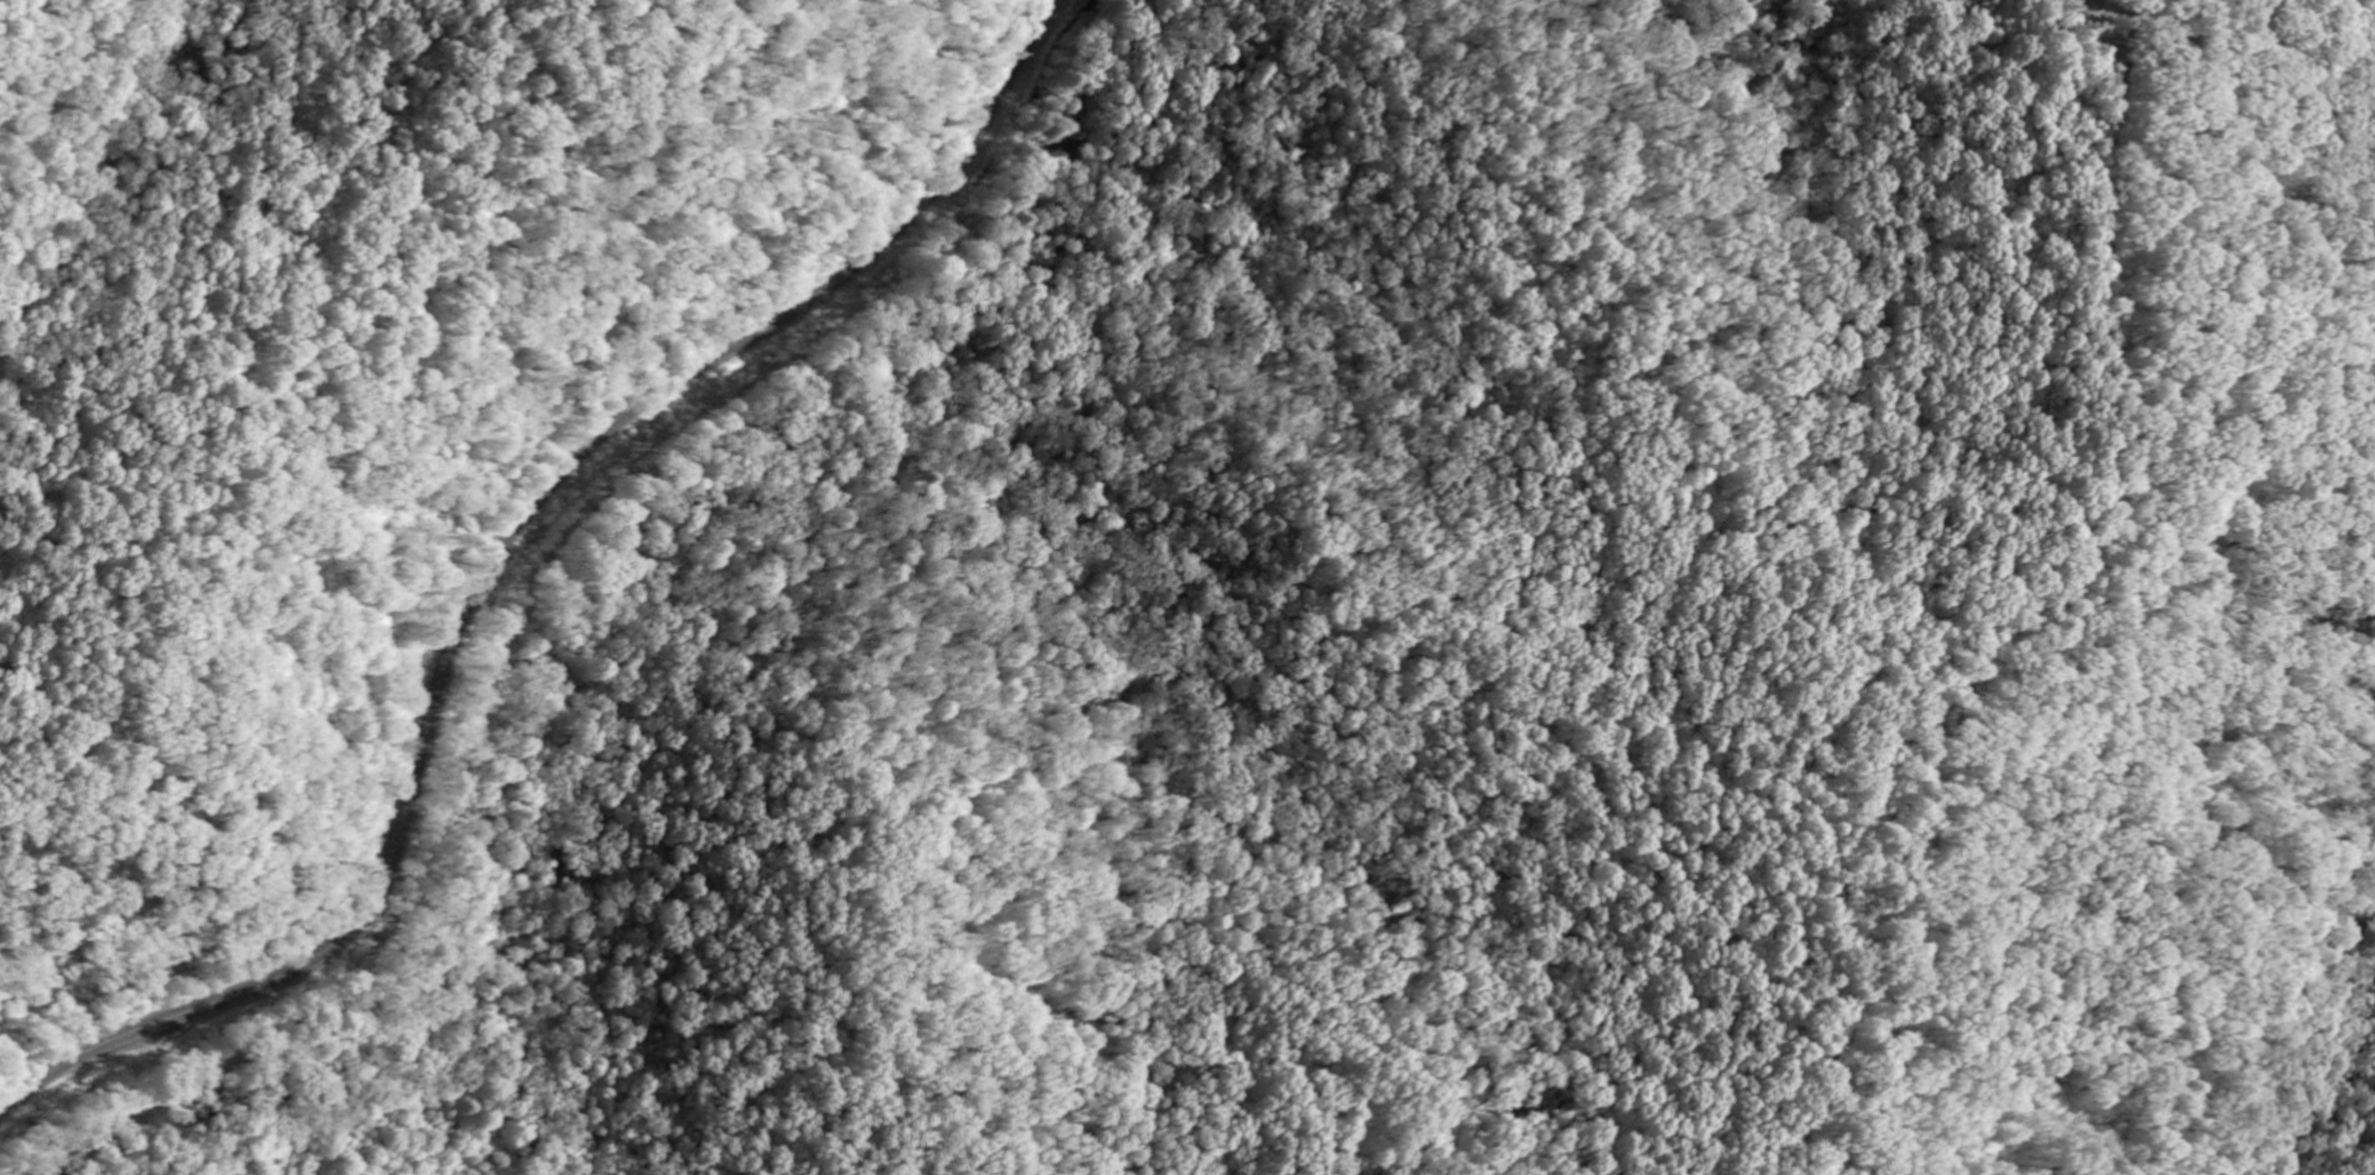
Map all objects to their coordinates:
road: (499, 559)
road: (2040, 605)

